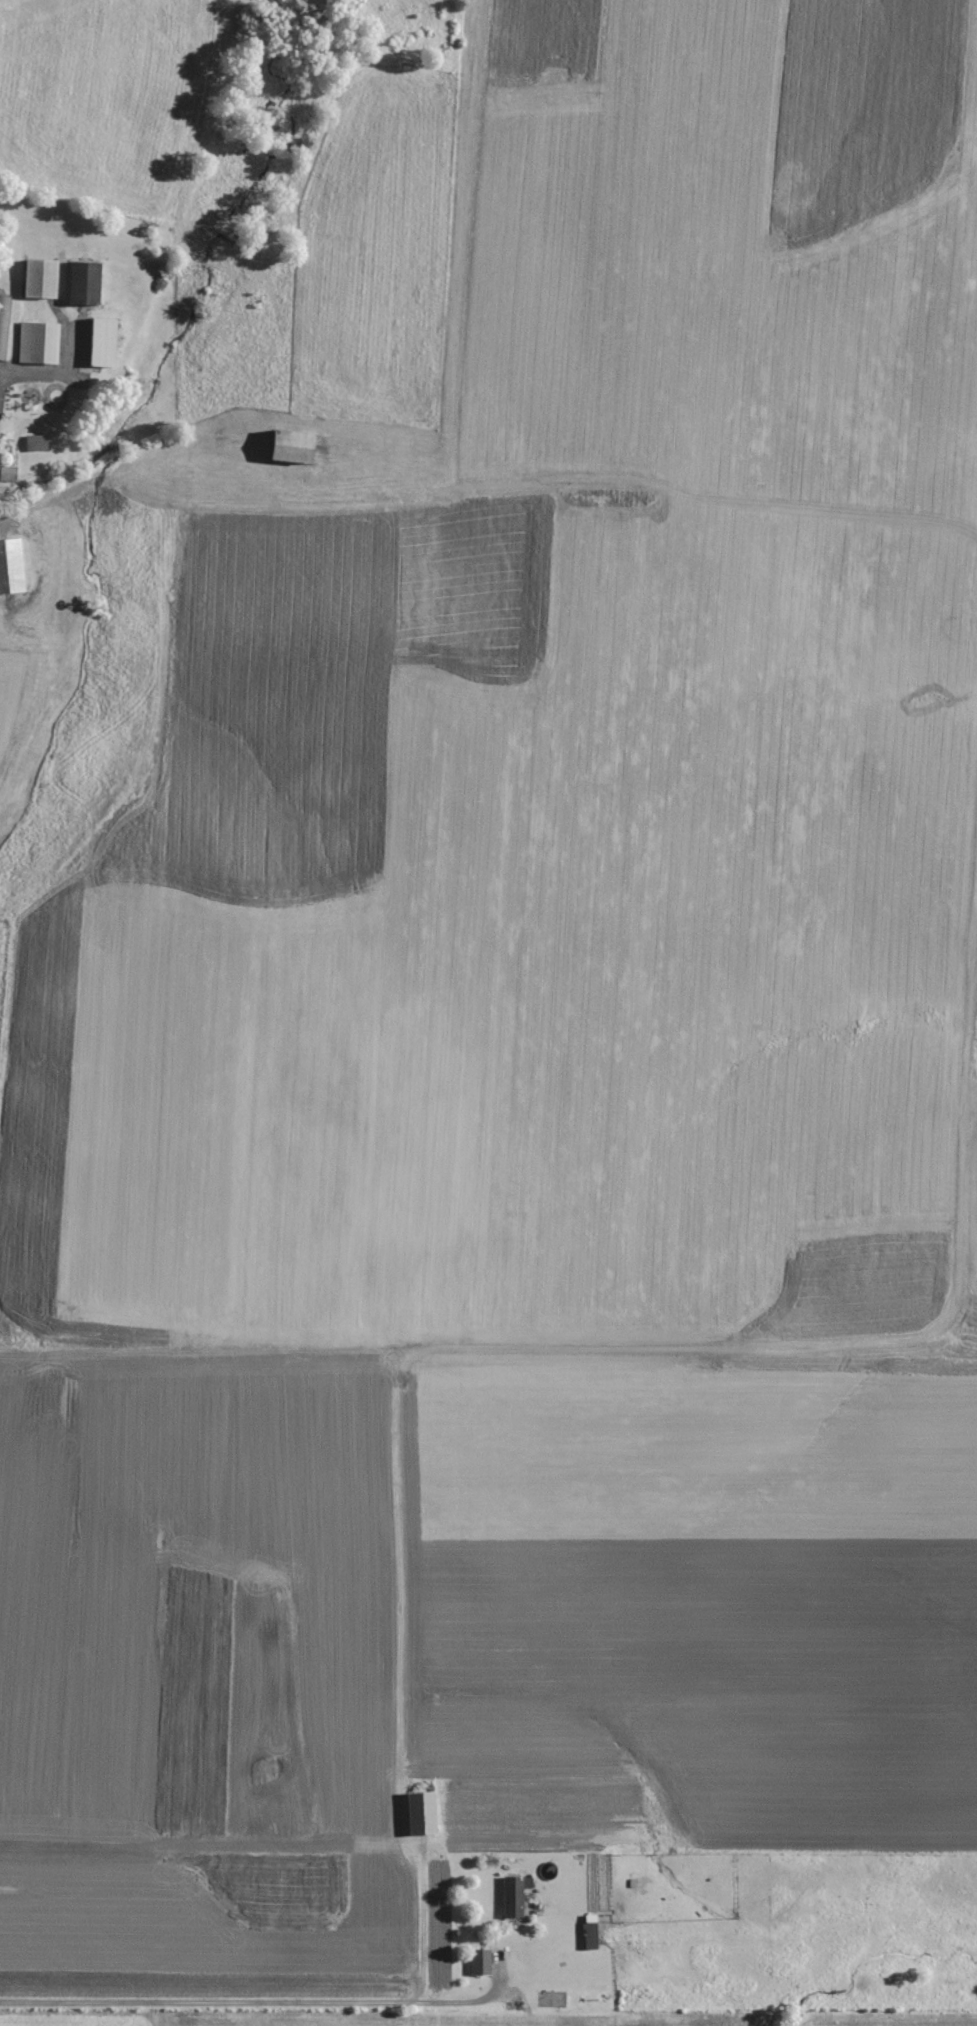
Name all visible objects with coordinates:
building: (38, 280)
building: (81, 284)
building: (100, 343)
building: (36, 344)
road: (5, 400)
building: (33, 444)
building: (291, 452)
building: (6, 474)
road: (105, 479)
building: (9, 568)
building: (419, 1814)
building: (512, 1896)
building: (478, 1962)
road: (271, 2004)

